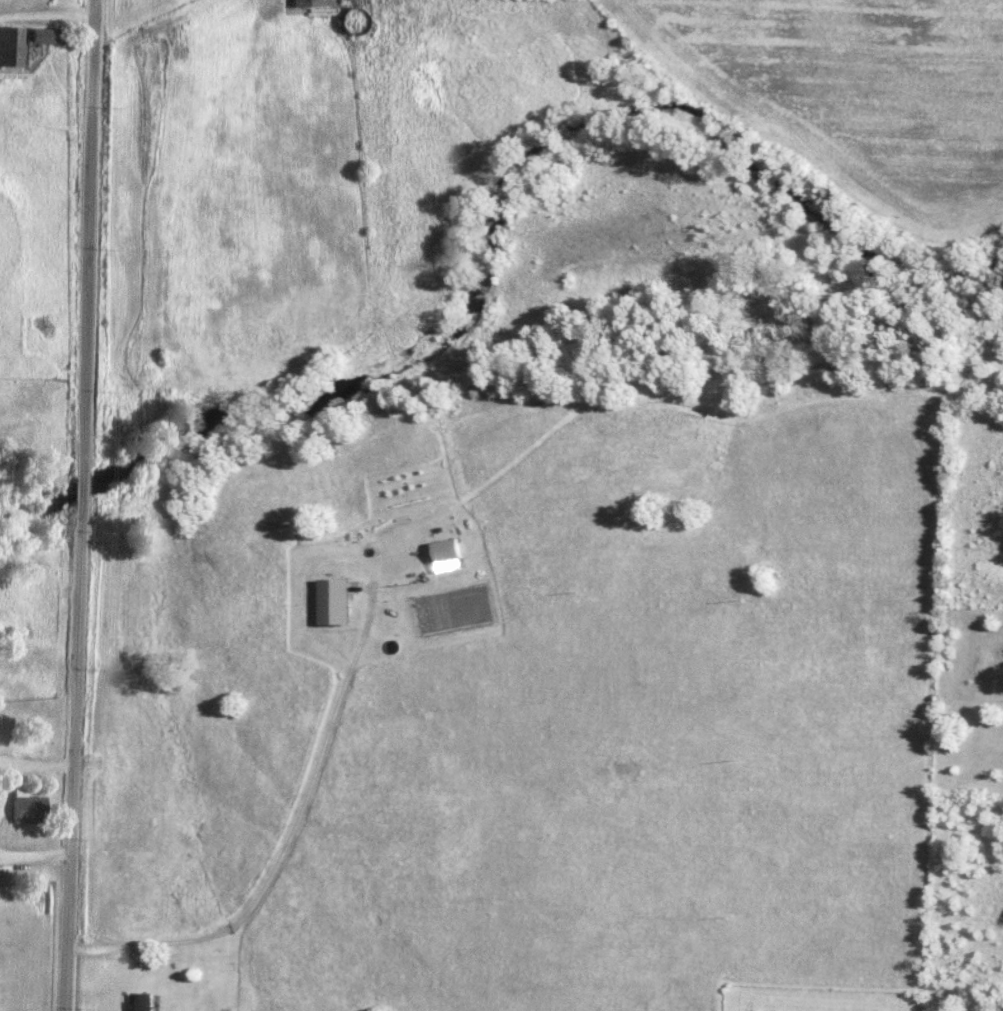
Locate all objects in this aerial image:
building: (306, 3)
road: (49, 17)
building: (46, 35)
building: (10, 46)
road: (83, 505)
building: (28, 807)
road: (279, 845)
building: (3, 874)
building: (140, 1001)

